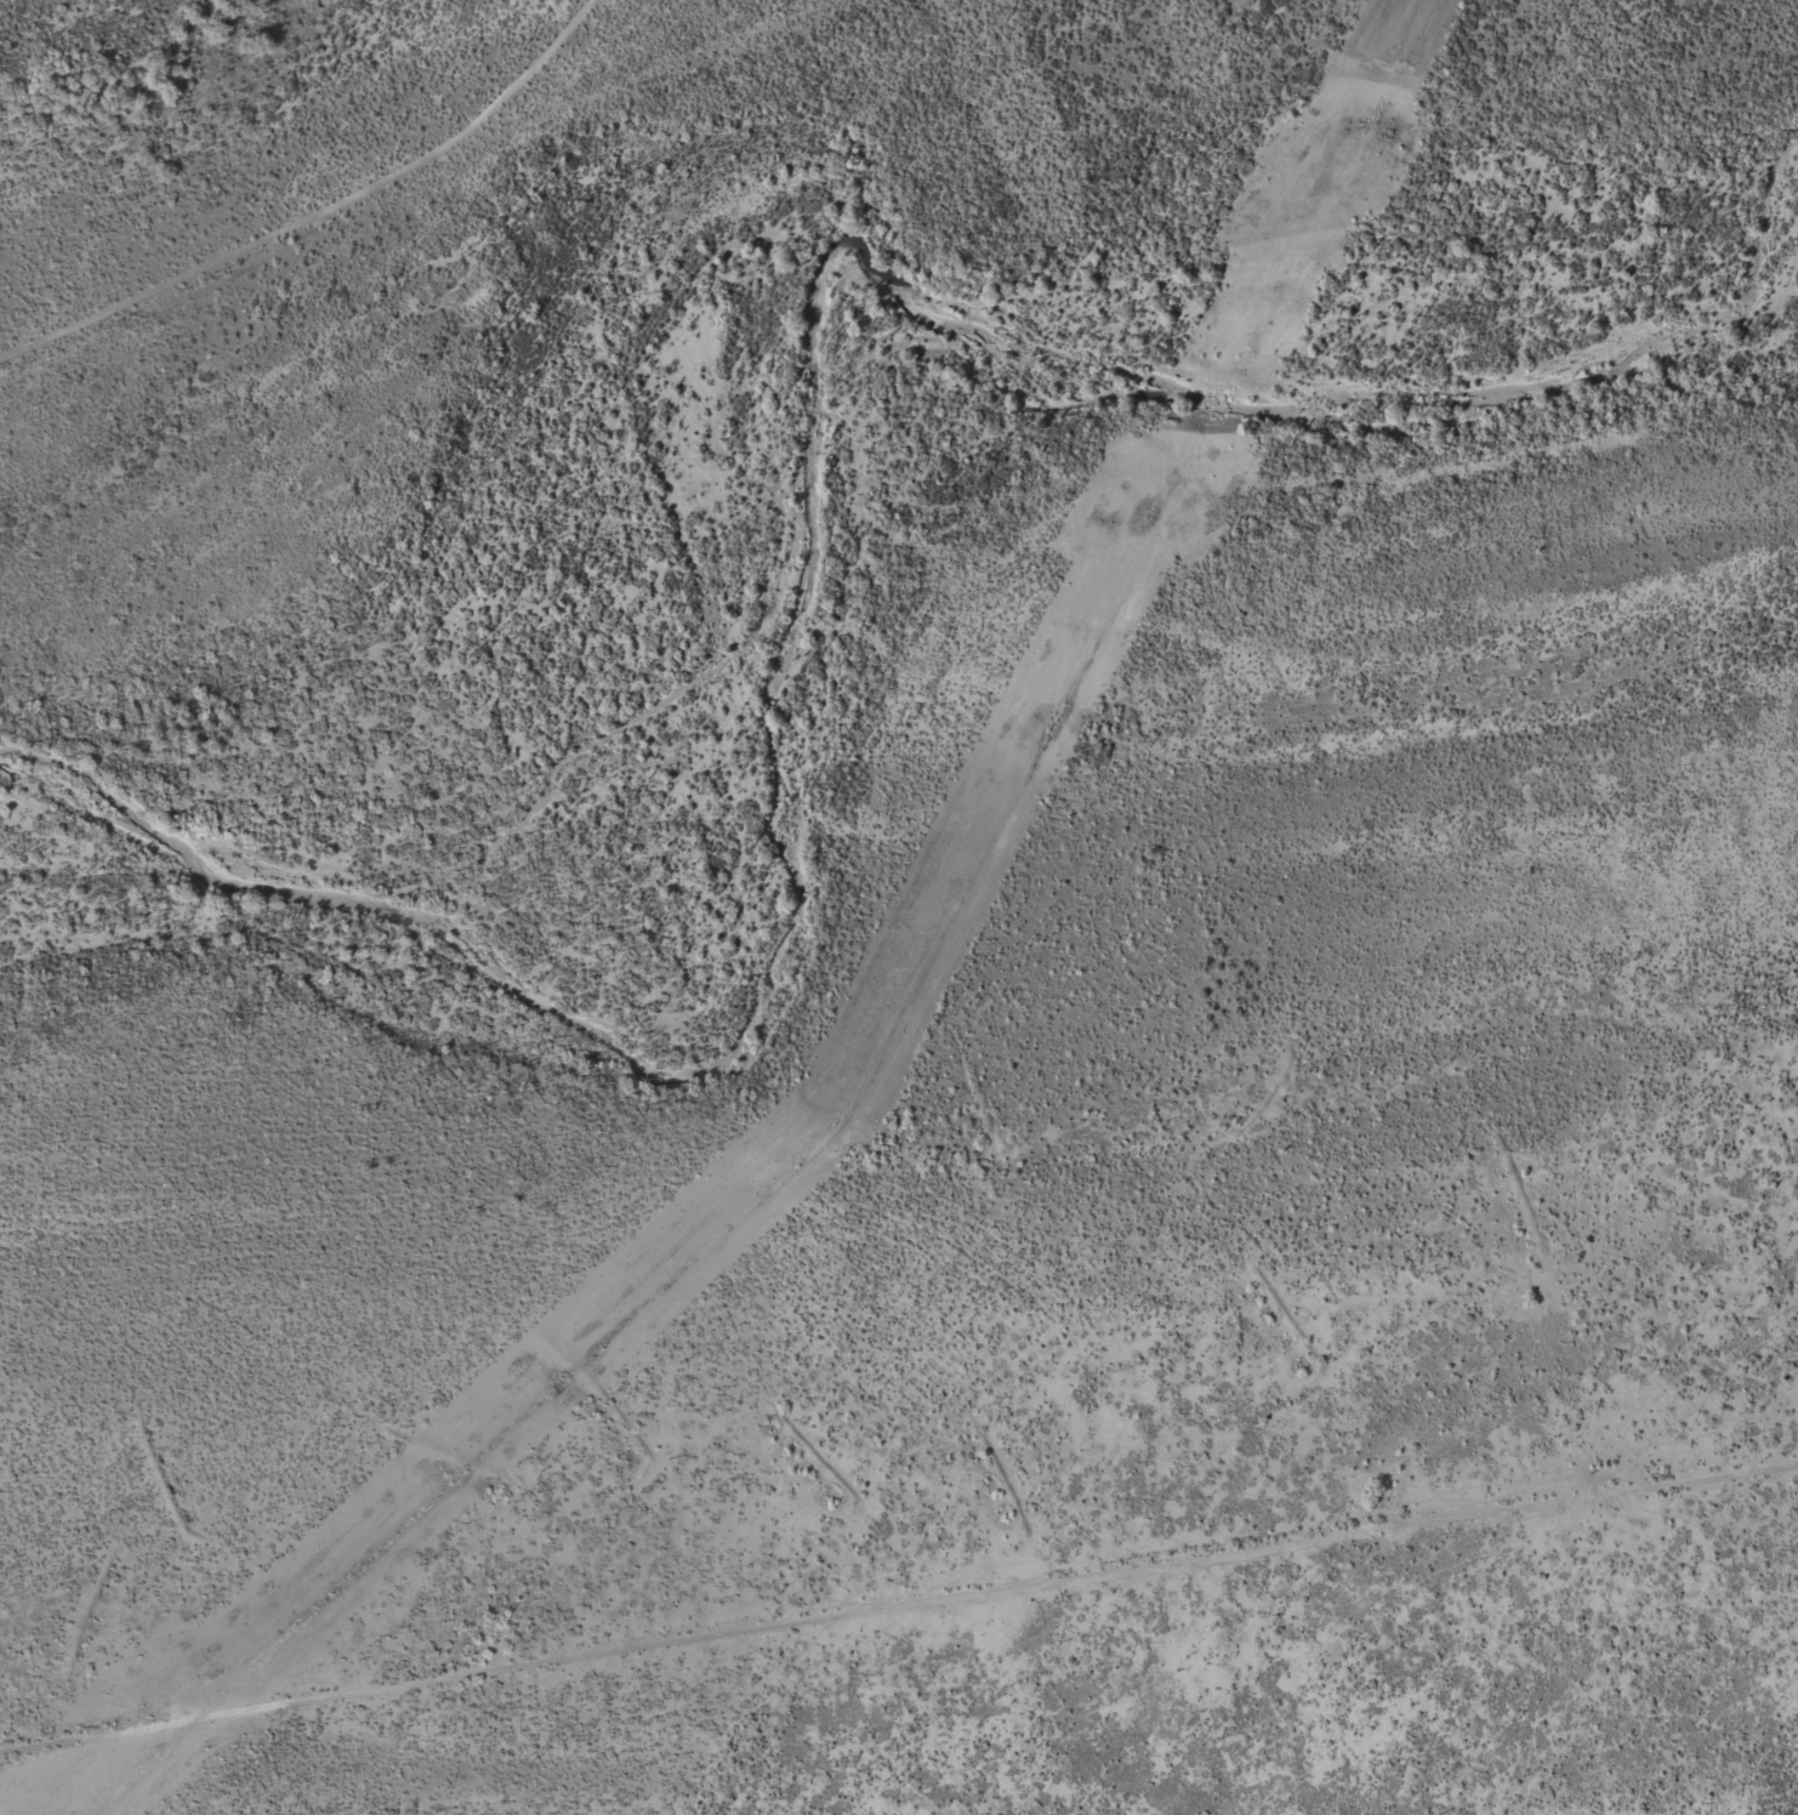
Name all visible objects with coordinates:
road: (389, 264)

